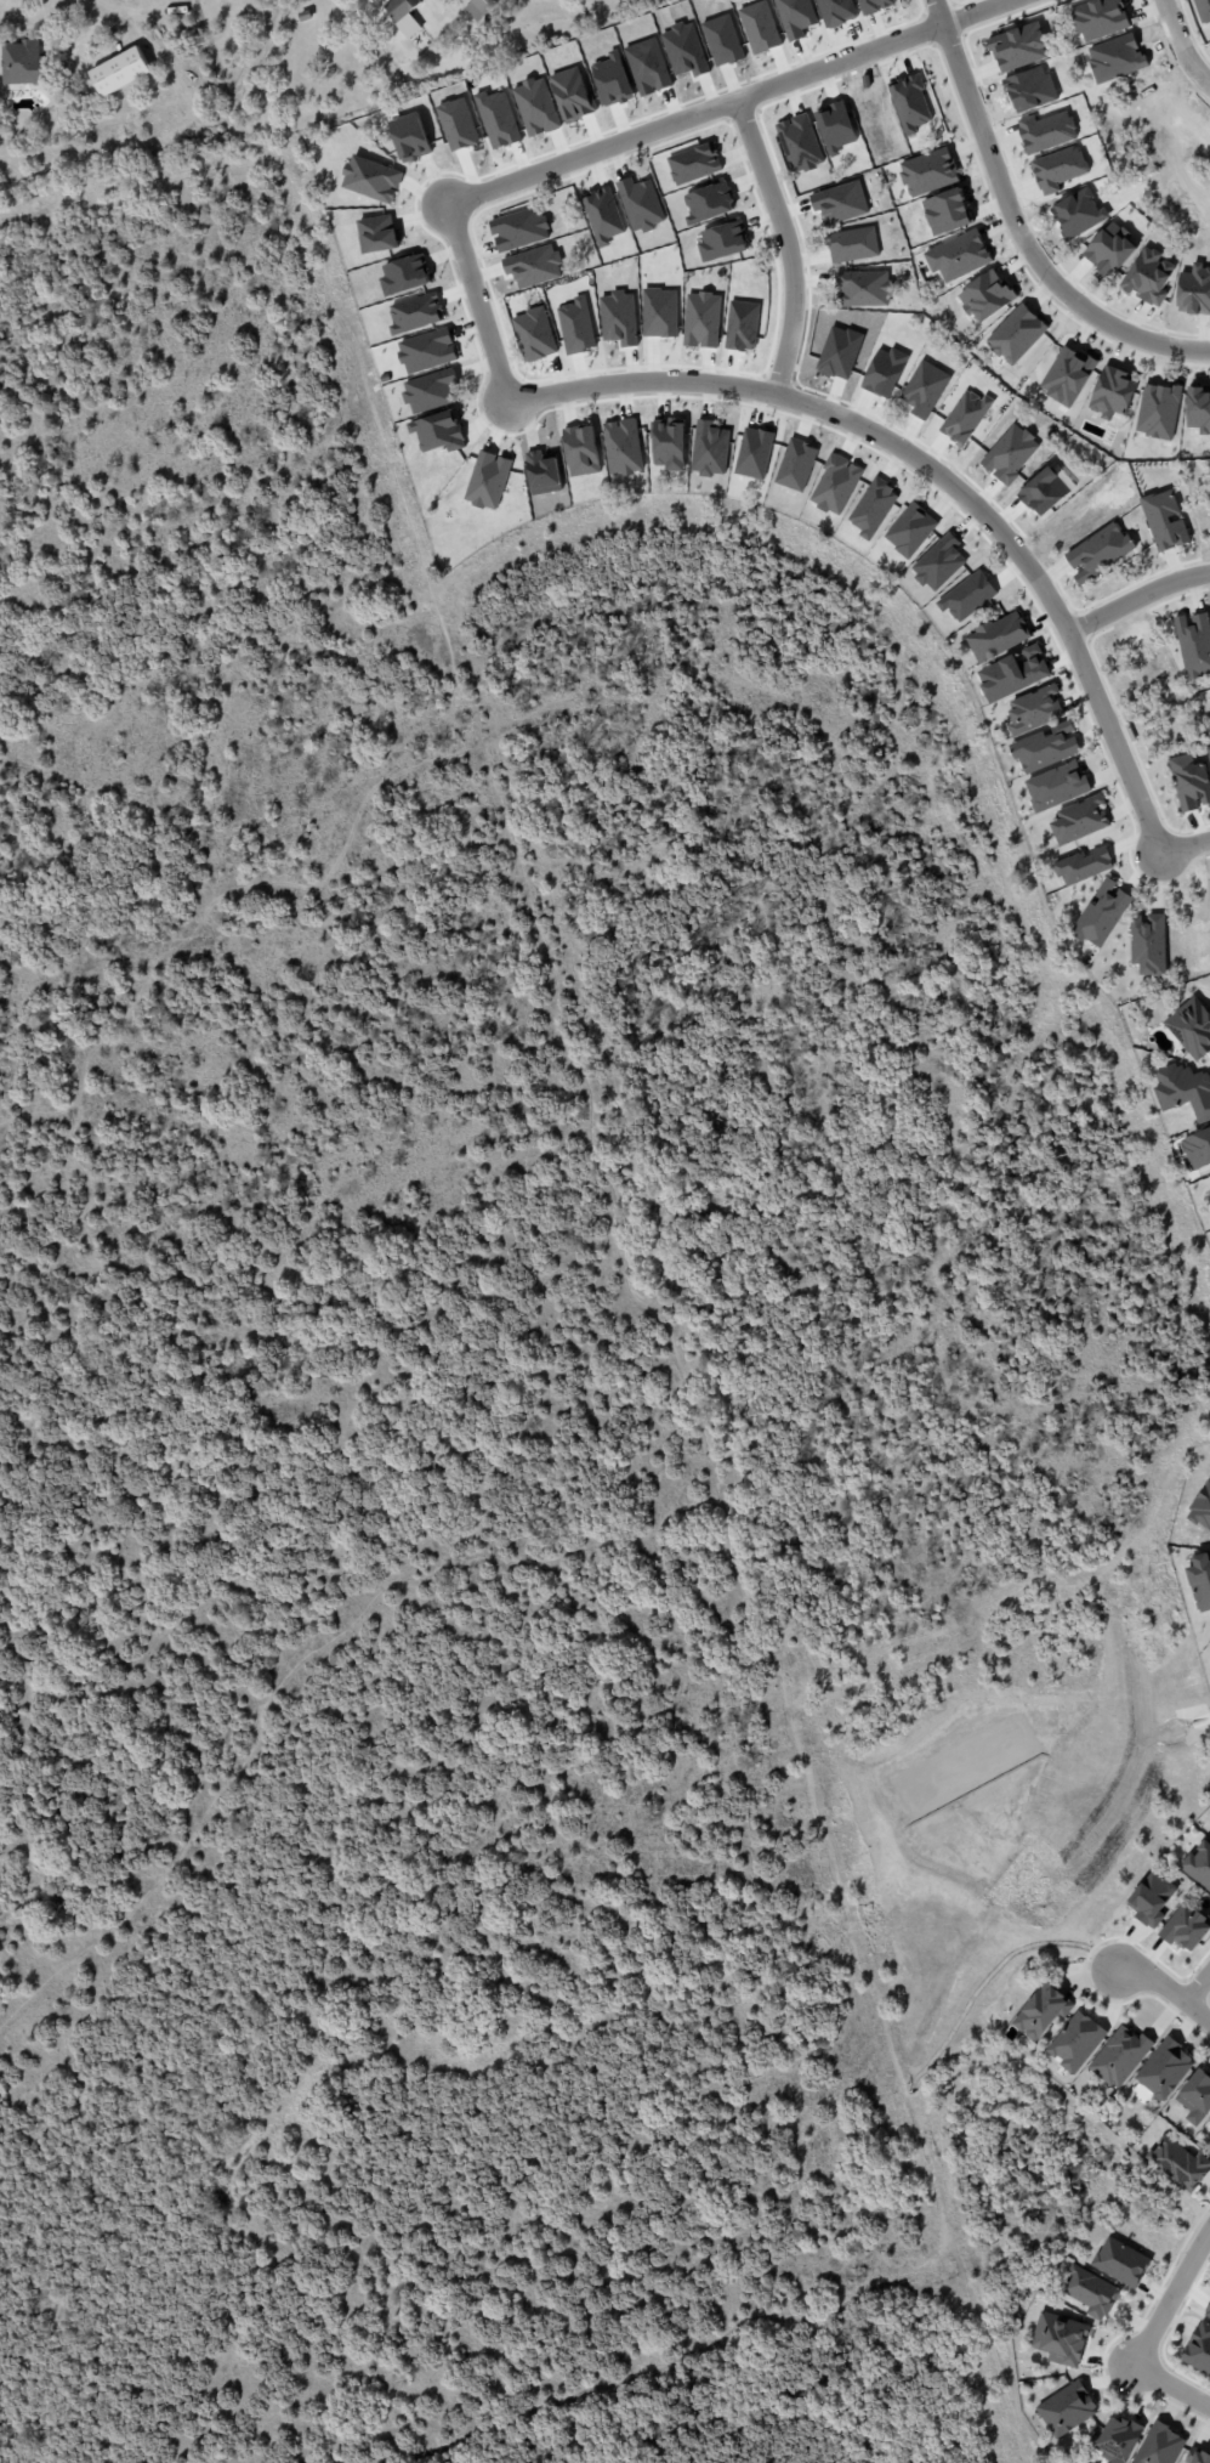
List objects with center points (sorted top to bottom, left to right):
building: (376, 0)
building: (477, 7)
building: (1203, 9)
road: (936, 12)
road: (972, 12)
building: (303, 16)
building: (404, 17)
building: (1098, 17)
building: (158, 21)
road: (1182, 40)
building: (1017, 44)
building: (1114, 56)
building: (27, 64)
building: (120, 73)
road: (596, 152)
road: (1023, 238)
road: (788, 242)
road: (933, 468)
building: (1164, 520)
building: (1098, 551)
road: (1136, 593)
building: (998, 636)
building: (1194, 642)
building: (1034, 709)
building: (1045, 747)
building: (1208, 752)
building: (1189, 782)
building: (1056, 786)
building: (1079, 820)
road: (1183, 847)
road: (220, 898)
building: (1101, 913)
building: (1148, 944)
building: (1191, 1027)
road: (590, 1134)
building: (1197, 1149)
park: (498, 1393)
building: (1200, 1581)
building: (1199, 1864)
building: (1151, 1898)
building: (1186, 1927)
road: (1198, 1986)
road: (1166, 1987)
building: (1041, 2011)
building: (1075, 2042)
building: (1119, 2056)
building: (1164, 2068)
building: (1195, 2096)
building: (1178, 2163)
building: (1120, 2261)
building: (1089, 2292)
building: (1208, 2310)
road: (1151, 2332)
building: (1060, 2338)
building: (1198, 2349)
building: (1067, 2408)
building: (1117, 2439)
building: (1159, 2445)
building: (1197, 2456)

